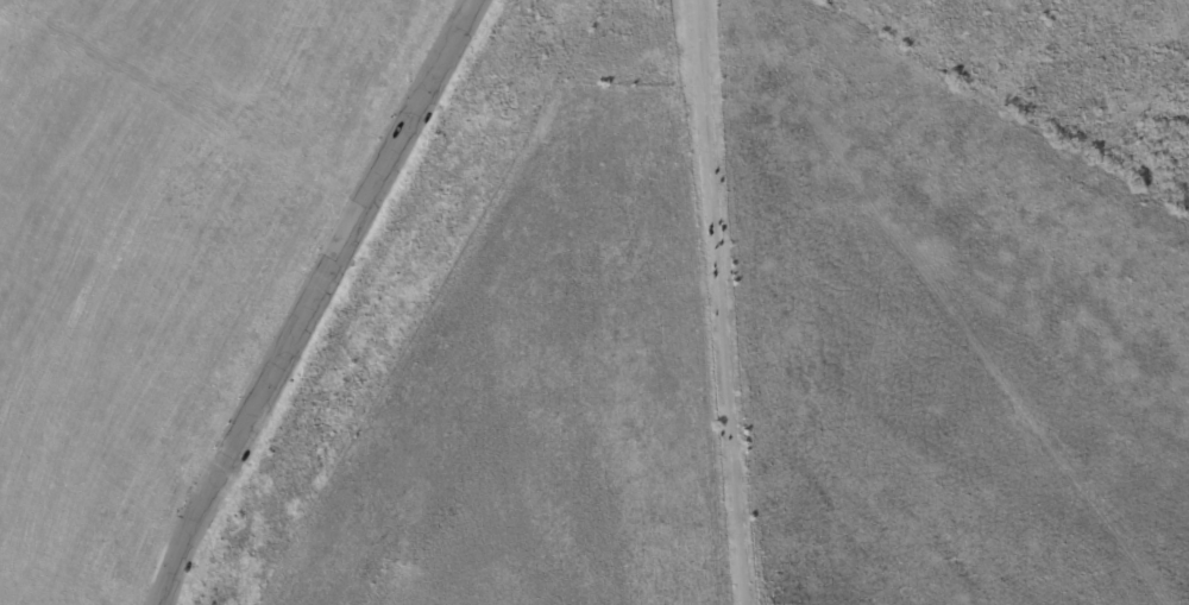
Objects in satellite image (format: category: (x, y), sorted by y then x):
road: (306, 300)

